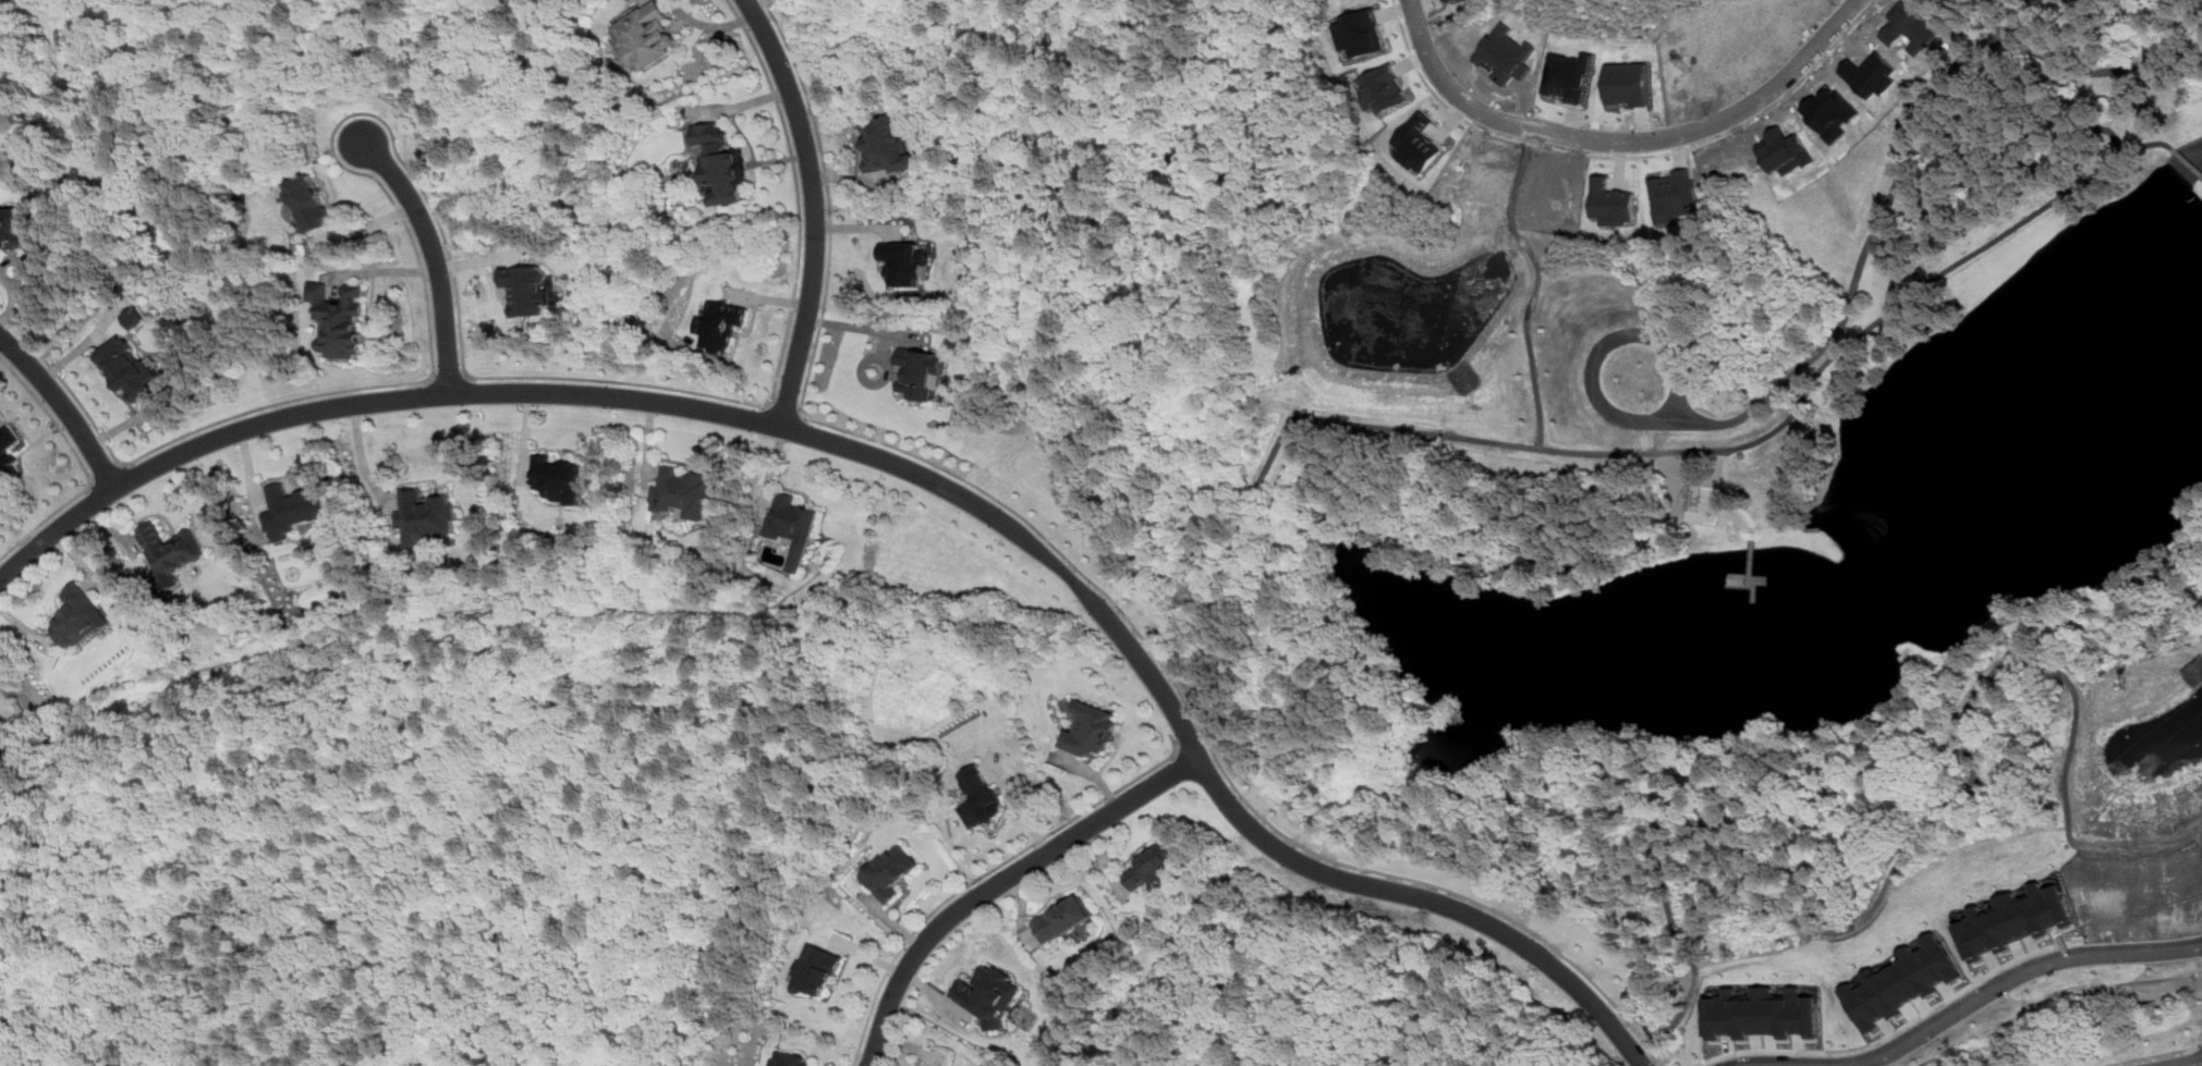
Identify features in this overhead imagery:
building: (1330, 2)
road: (759, 3)
building: (1938, 4)
building: (1909, 25)
building: (1359, 33)
building: (644, 35)
building: (1504, 54)
building: (1870, 73)
building: (1568, 74)
building: (1628, 82)
building: (1386, 87)
road: (738, 103)
building: (1829, 111)
building: (1415, 143)
building: (887, 144)
building: (473, 149)
road: (1627, 149)
building: (1785, 149)
road: (1901, 158)
road: (2187, 160)
building: (719, 163)
road: (418, 183)
building: (1558, 188)
building: (1676, 195)
building: (312, 203)
building: (1611, 203)
road: (815, 209)
building: (20, 226)
road: (436, 255)
building: (907, 260)
road: (0, 272)
road: (2, 274)
road: (1938, 275)
road: (1536, 287)
building: (523, 289)
road: (13, 305)
building: (134, 317)
building: (339, 320)
building: (720, 323)
road: (1608, 340)
building: (129, 370)
building: (920, 371)
road: (463, 375)
road: (428, 377)
road: (446, 377)
road: (768, 403)
road: (63, 406)
road: (784, 408)
road: (802, 412)
road: (1358, 425)
building: (7, 453)
road: (362, 455)
road: (122, 463)
road: (81, 464)
road: (914, 470)
road: (106, 473)
building: (556, 478)
road: (90, 482)
building: (680, 491)
building: (1692, 495)
road: (1726, 498)
building: (293, 509)
building: (426, 516)
building: (791, 527)
building: (170, 550)
pier: (1752, 559)
building: (1736, 576)
road: (1099, 585)
building: (77, 614)
road: (1197, 727)
building: (1090, 730)
road: (1184, 737)
building: (1, 745)
building: (978, 797)
road: (1019, 805)
road: (2201, 835)
road: (1913, 841)
building: (1152, 865)
building: (888, 871)
road: (984, 872)
road: (1002, 883)
building: (2142, 893)
building: (2012, 916)
building: (1063, 918)
building: (814, 970)
road: (2025, 978)
building: (1905, 982)
building: (988, 995)
building: (1764, 1013)
road: (2201, 1043)
road: (2148, 1054)
building: (787, 1059)
road: (1763, 1064)
road: (2197, 1065)

